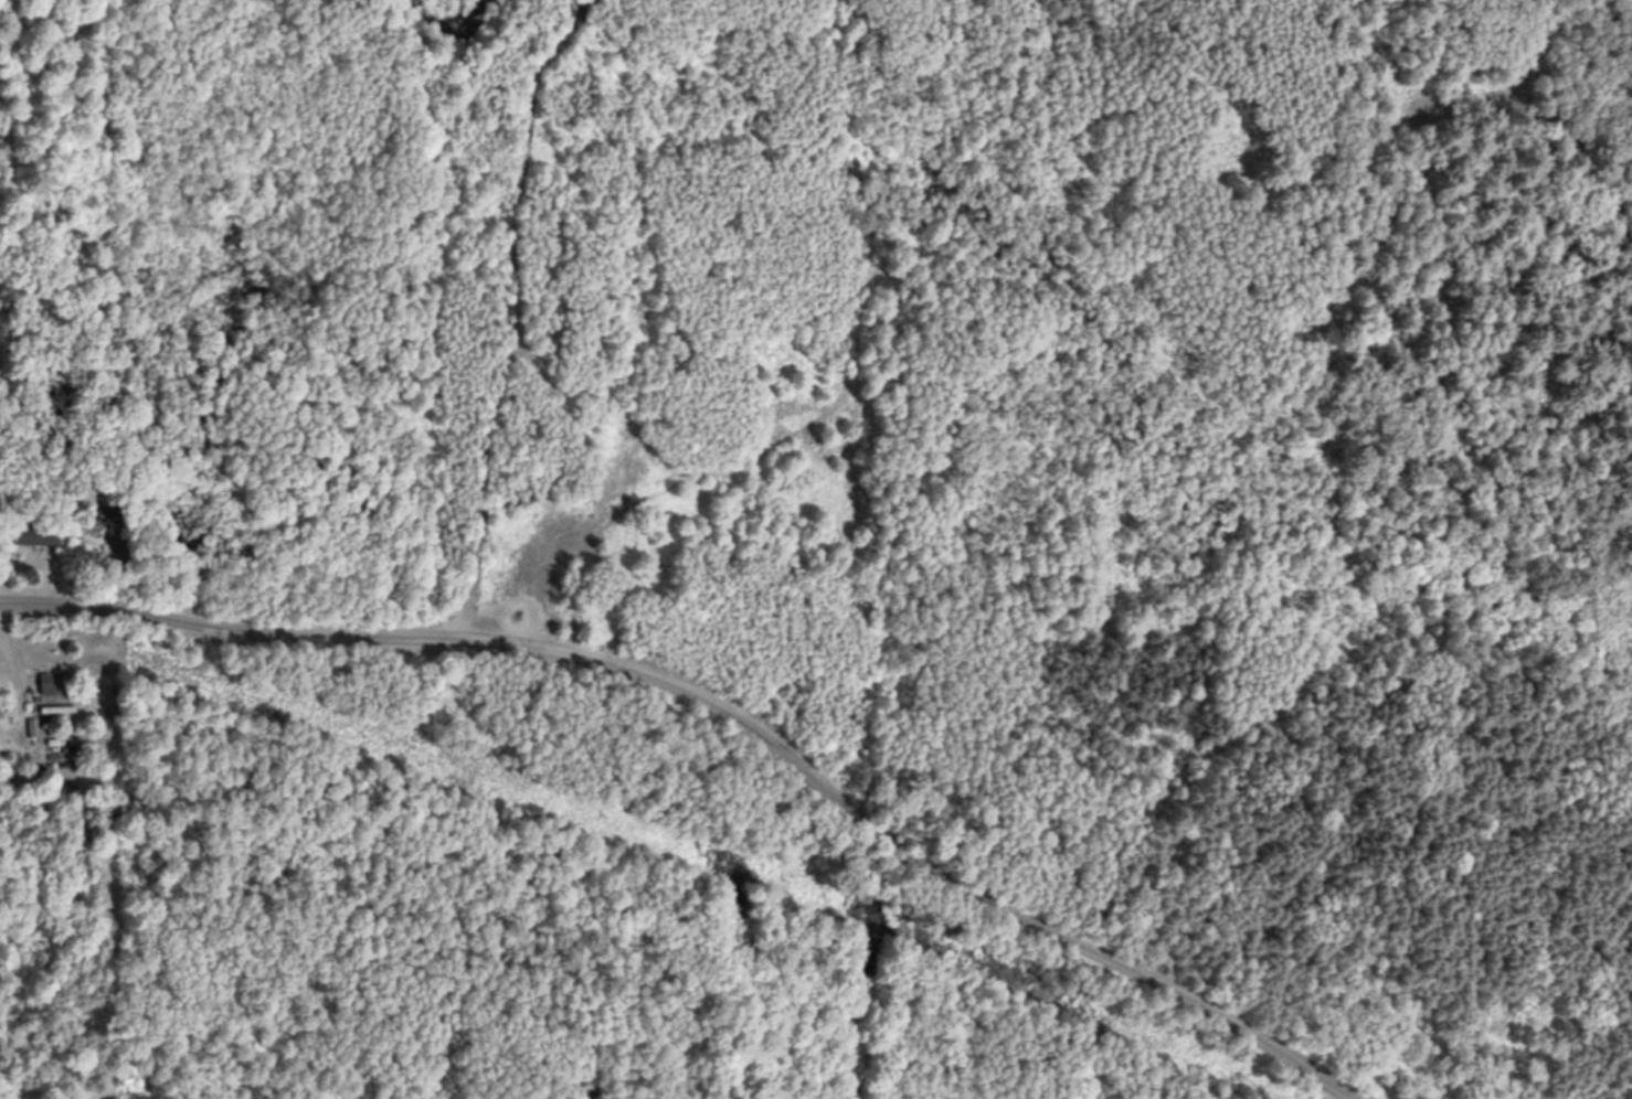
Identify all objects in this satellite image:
road: (1578, 199)
road: (935, 264)
road: (474, 294)
building: (47, 689)
road: (733, 700)
building: (6, 702)

